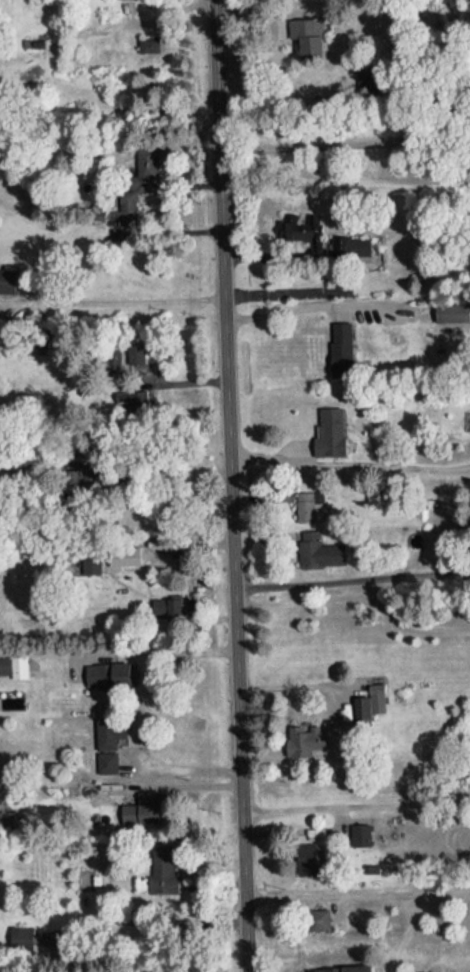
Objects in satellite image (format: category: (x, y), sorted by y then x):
building: (305, 29)
building: (298, 230)
building: (349, 239)
building: (6, 273)
road: (290, 292)
road: (312, 306)
building: (340, 341)
building: (328, 423)
road: (349, 467)
road: (228, 486)
building: (314, 506)
building: (314, 543)
road: (353, 600)
road: (162, 651)
road: (288, 690)
building: (359, 702)
building: (302, 733)
building: (105, 756)
road: (181, 771)
building: (140, 802)
road: (354, 804)
building: (359, 827)
building: (160, 860)
road: (356, 895)
building: (313, 913)
building: (339, 966)

